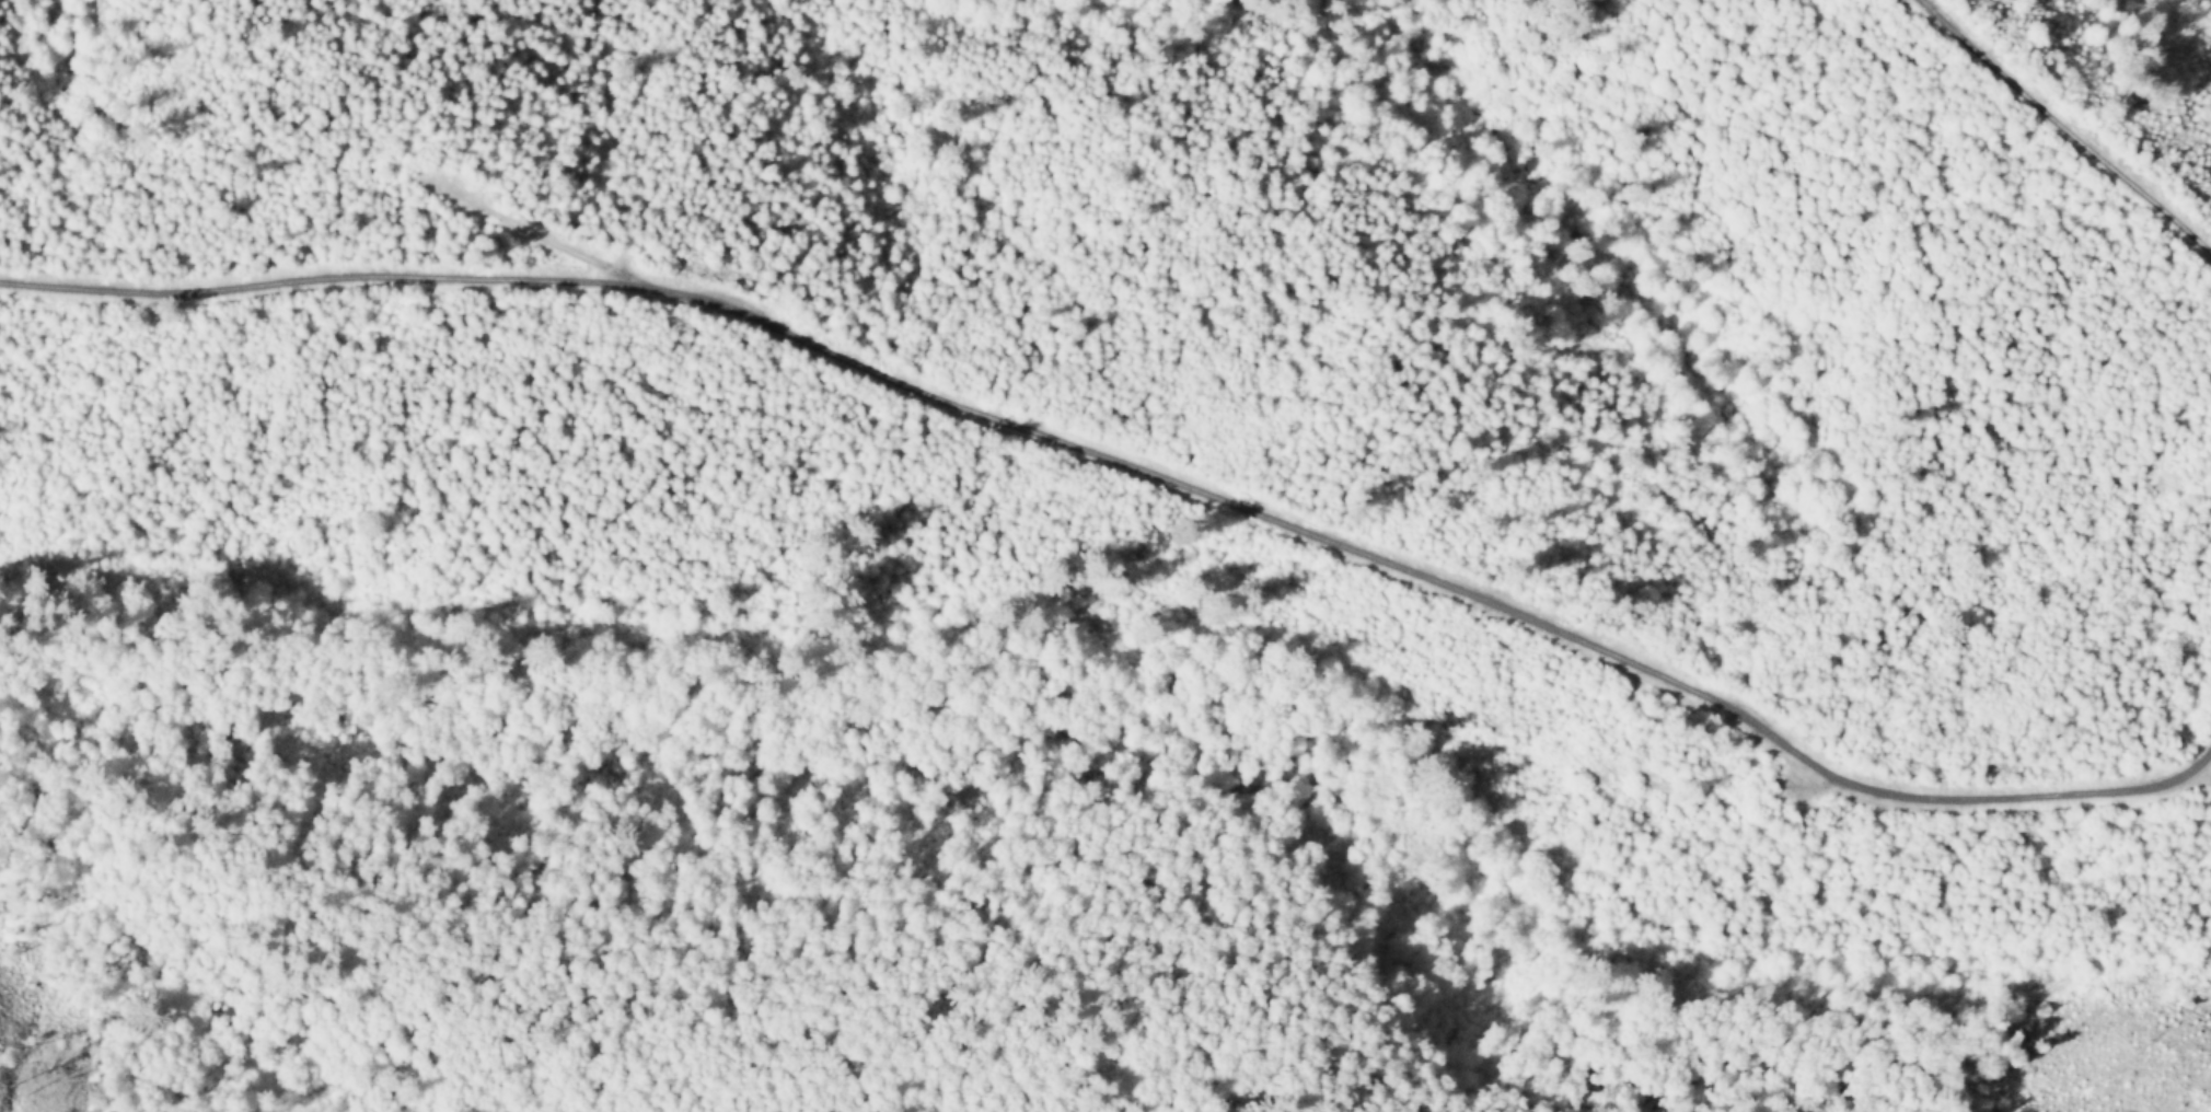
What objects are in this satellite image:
road: (2064, 125)
road: (1130, 465)

